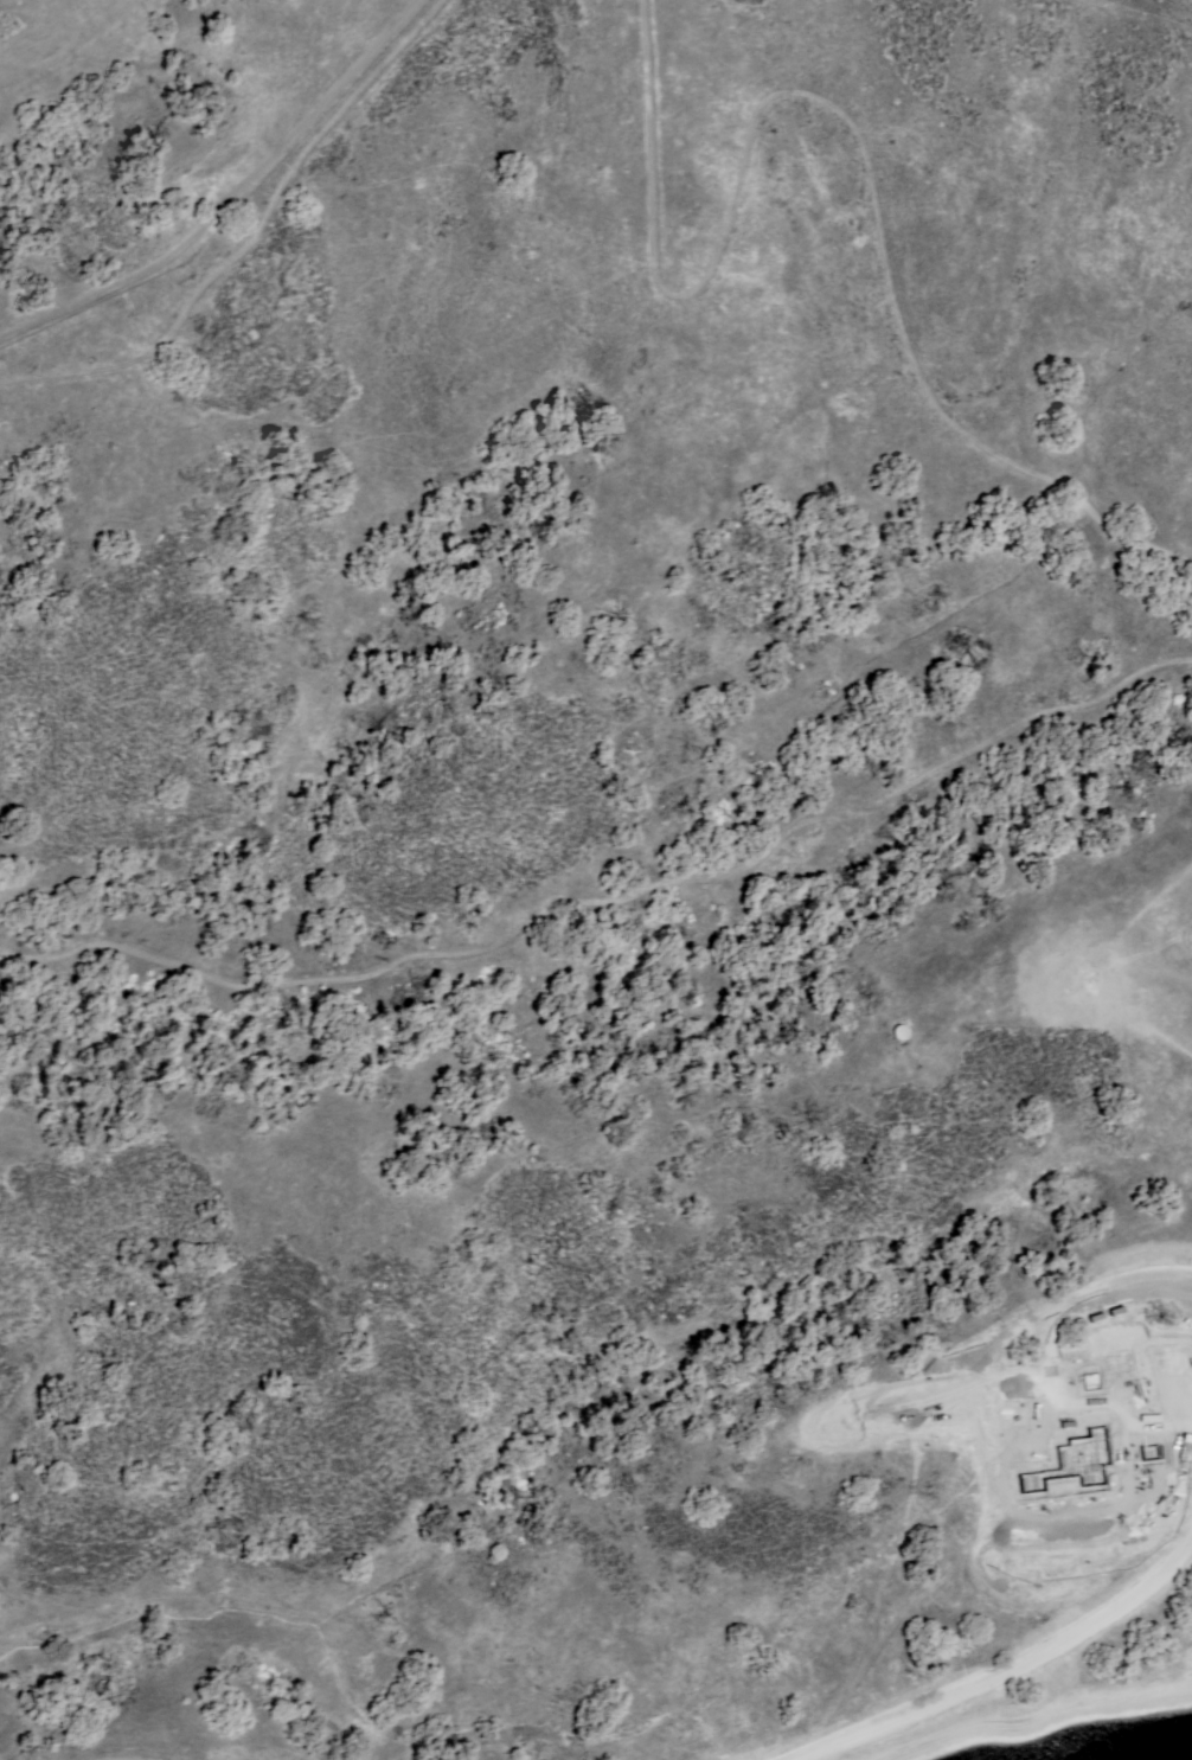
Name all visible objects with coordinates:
road: (841, 110)
road: (1011, 1660)

